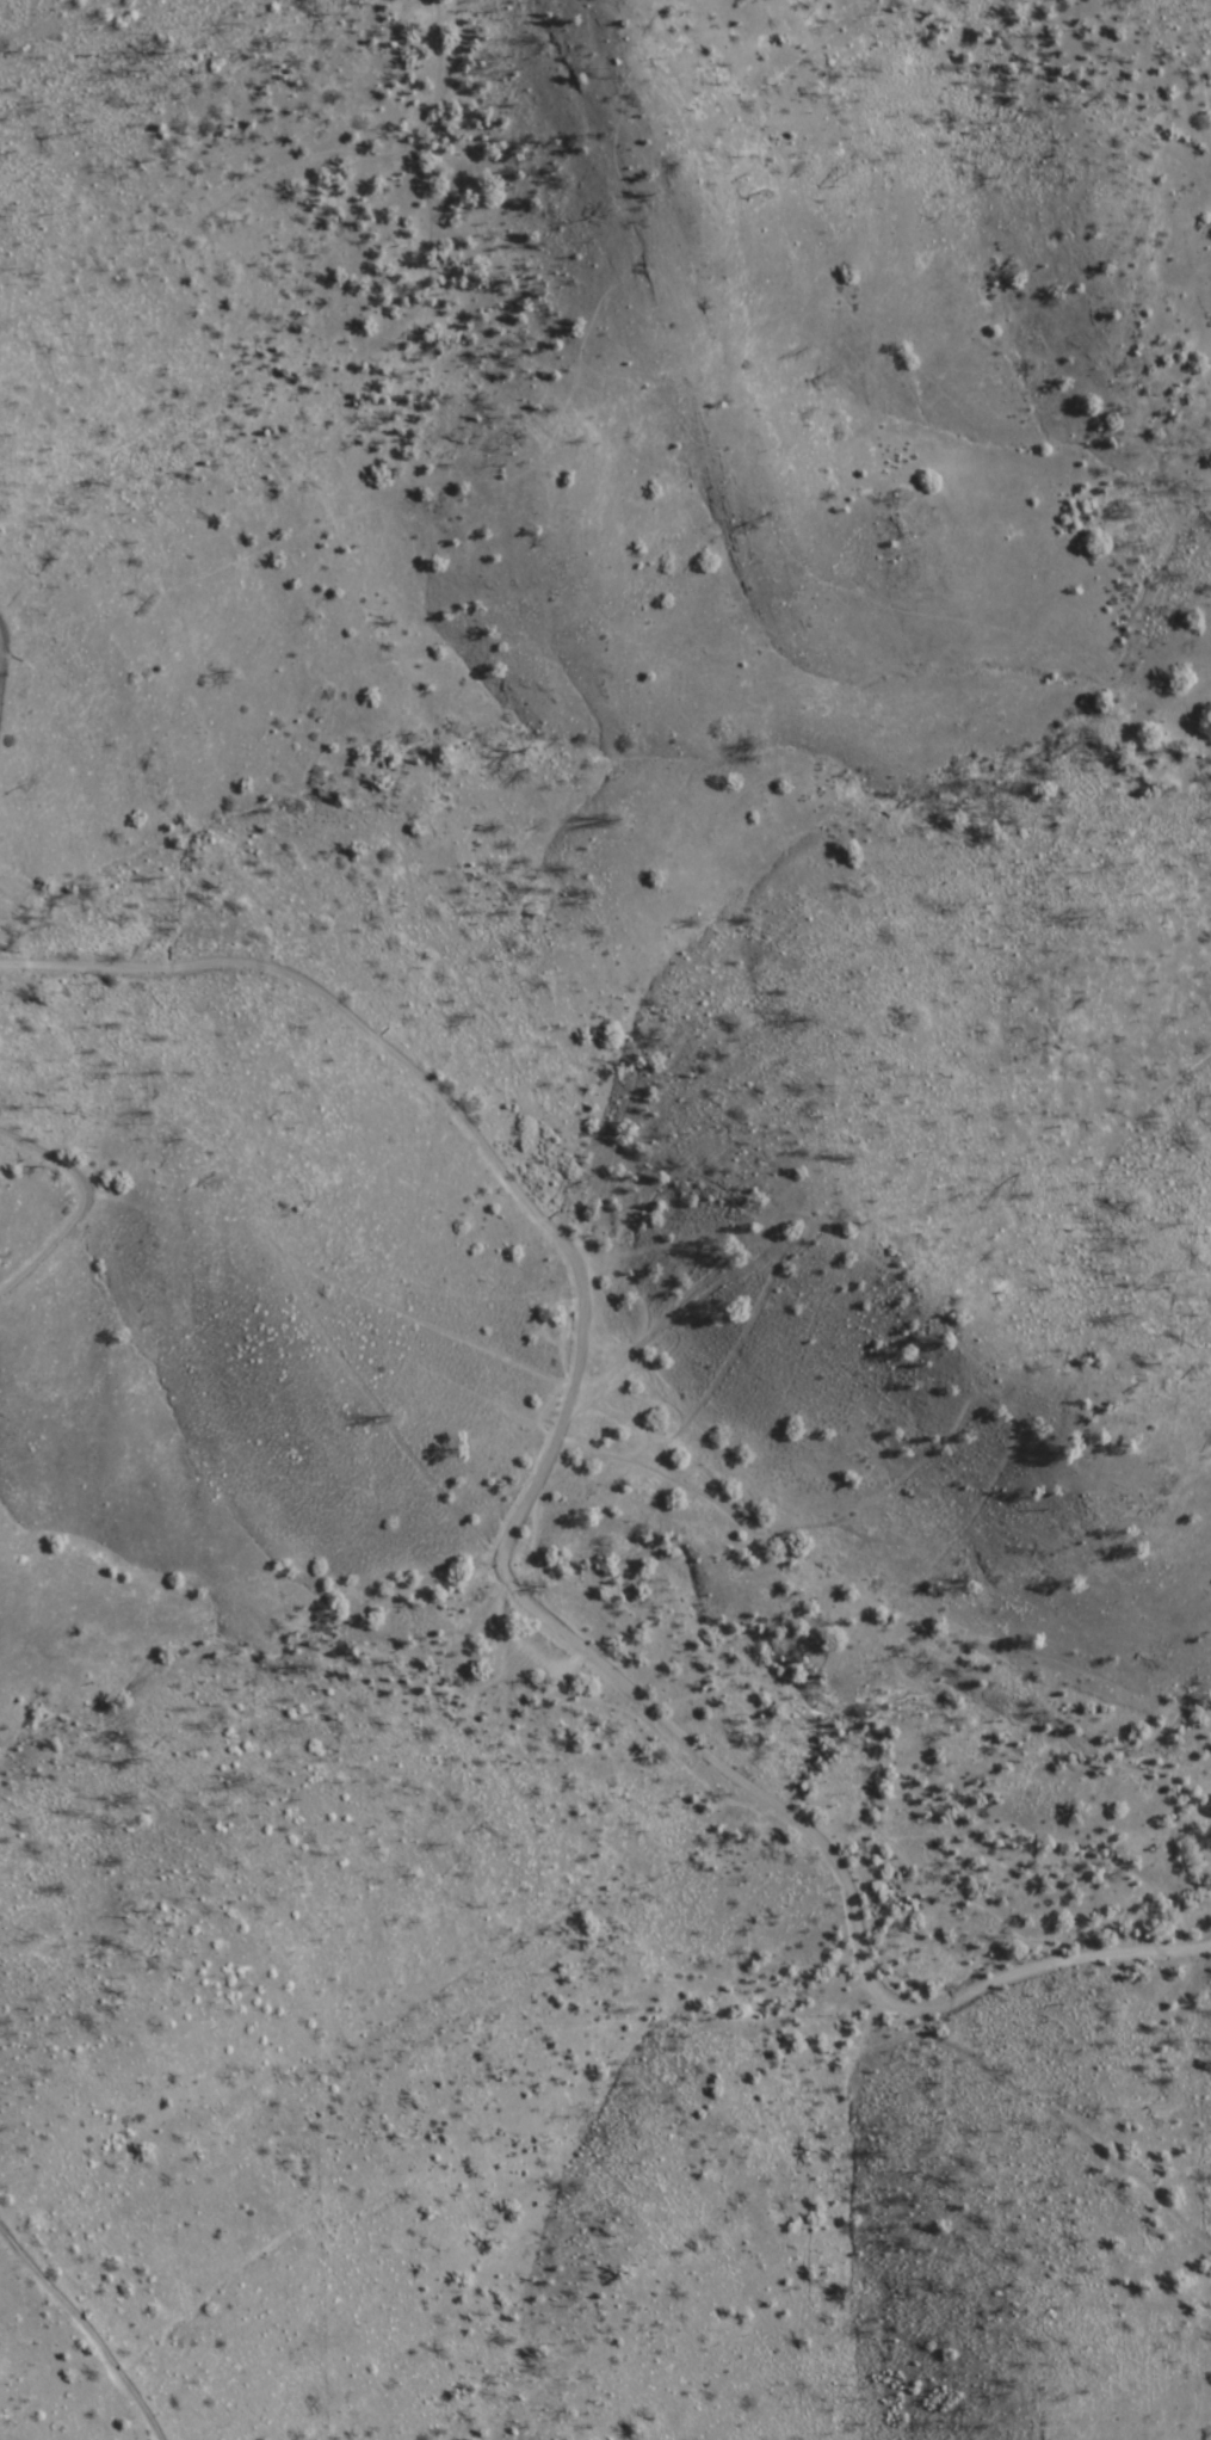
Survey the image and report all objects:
road: (1, 654)
road: (81, 1212)
road: (520, 1524)
road: (88, 2329)

